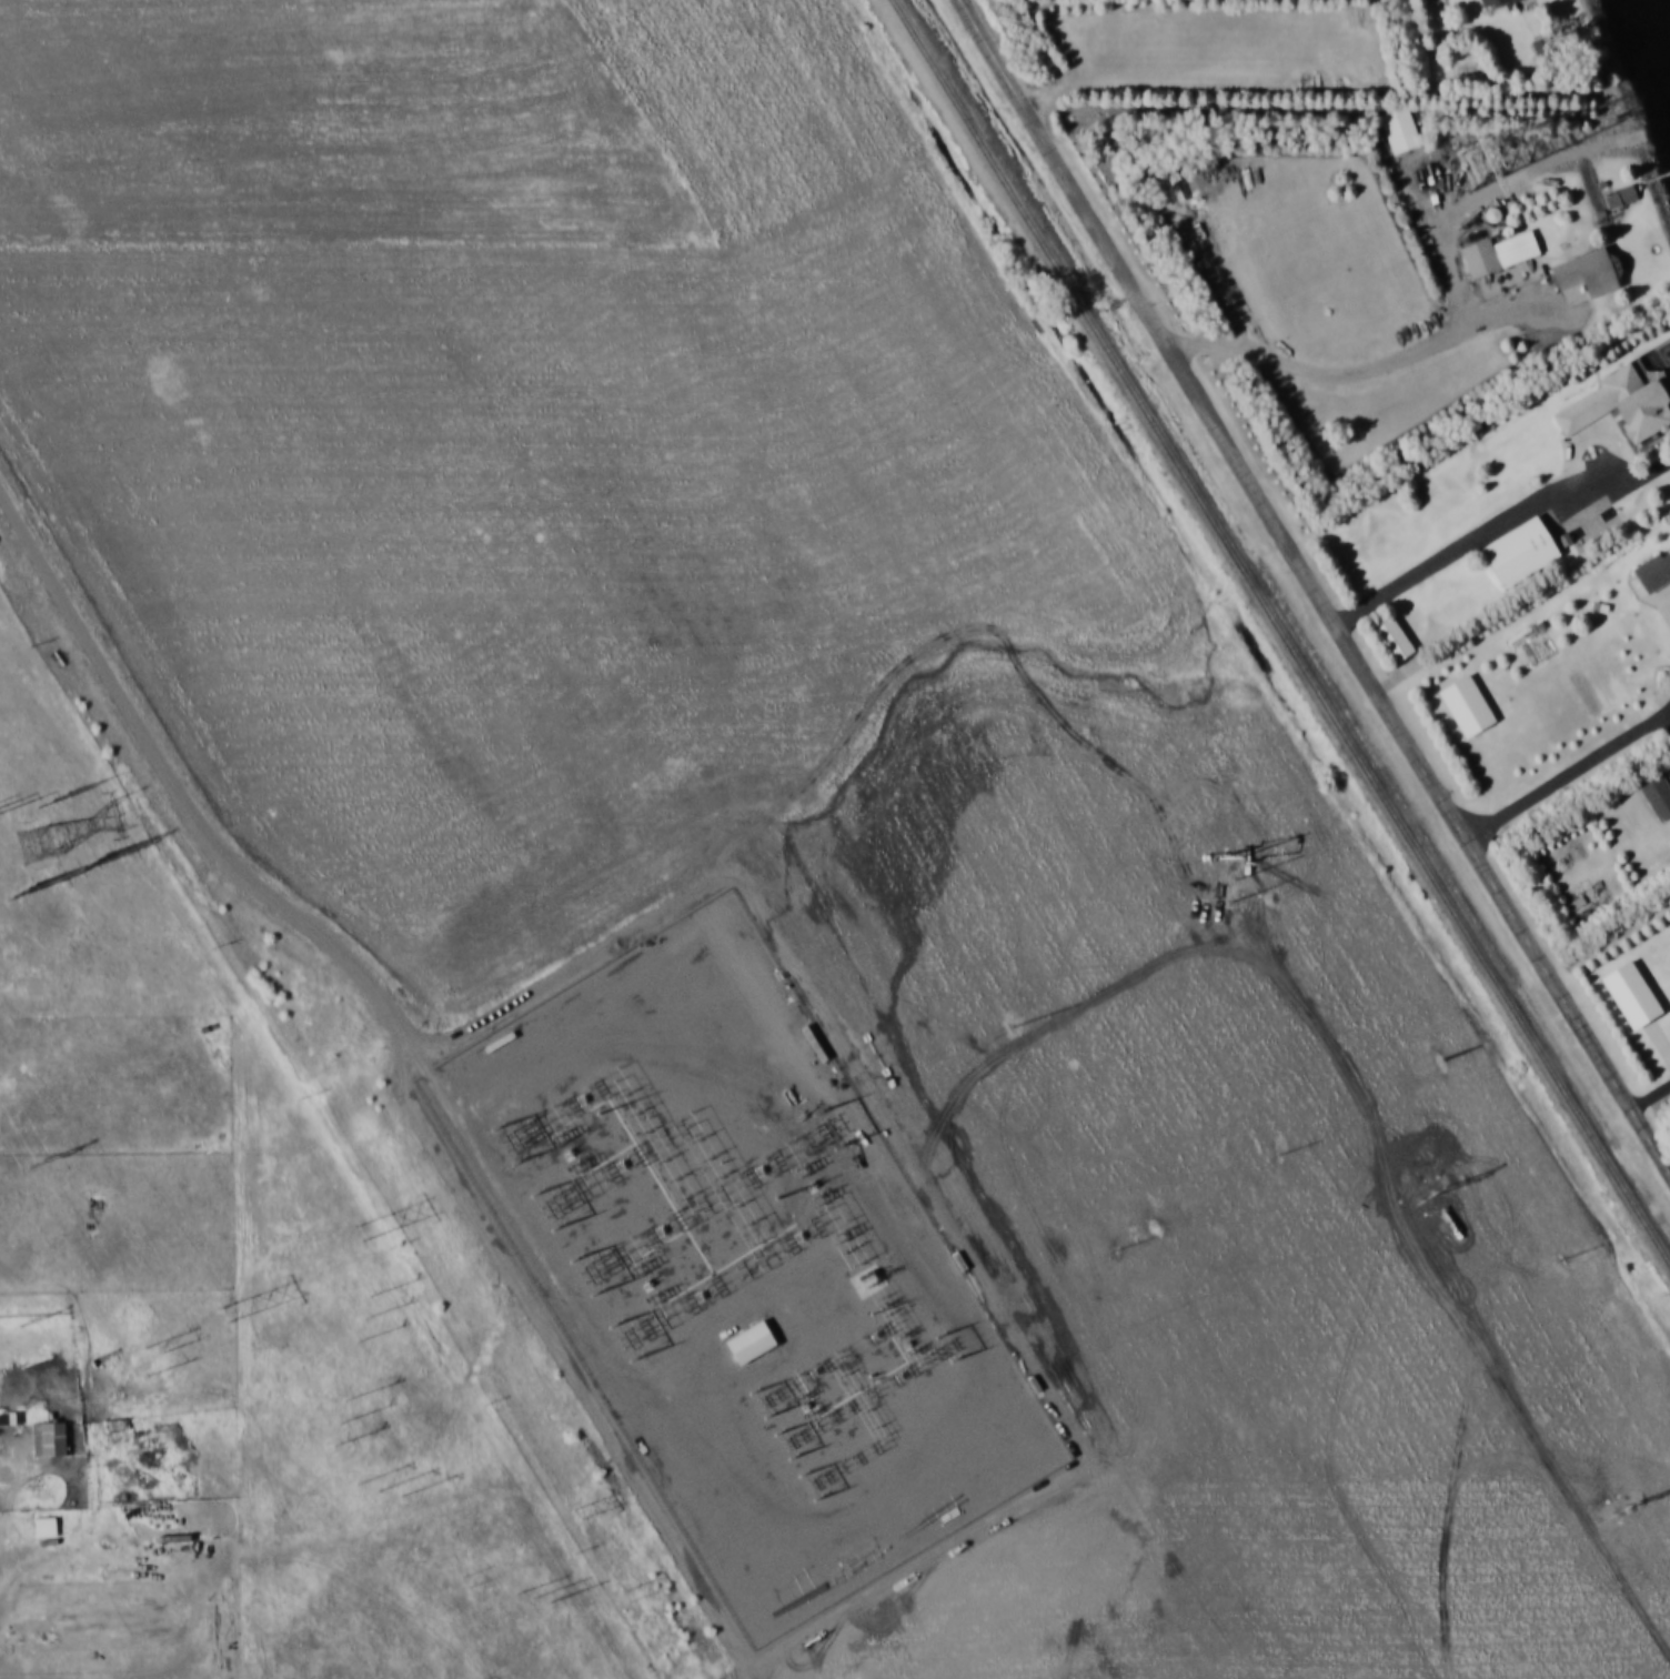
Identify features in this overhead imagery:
building: (1493, 2)
building: (1549, 54)
road: (1196, 82)
building: (1401, 131)
power tower: (1486, 160)
building: (1624, 198)
building: (1501, 254)
building: (1592, 273)
road: (1372, 370)
building: (1624, 406)
road: (1478, 539)
building: (1523, 553)
building: (1656, 575)
road: (1314, 581)
railway: (1278, 639)
building: (1396, 641)
building: (1466, 707)
road: (1570, 778)
building: (1658, 797)
power tower: (56, 798)
power tower: (38, 847)
power tower: (94, 866)
power tower: (24, 895)
road: (1614, 946)
building: (1630, 996)
power tower: (1443, 1063)
power tower: (40, 1164)
power tower: (362, 1228)
power substation: (741, 1271)
power tower: (227, 1311)
power tower: (368, 1318)
power tower: (29, 1325)
building: (750, 1344)
power tower: (154, 1358)
power tower: (342, 1421)
building: (51, 1439)
power tower: (383, 1491)
power tower: (579, 1514)
road: (9, 1516)
power tower: (467, 1582)
power tower: (535, 1597)
power tower: (630, 1601)

